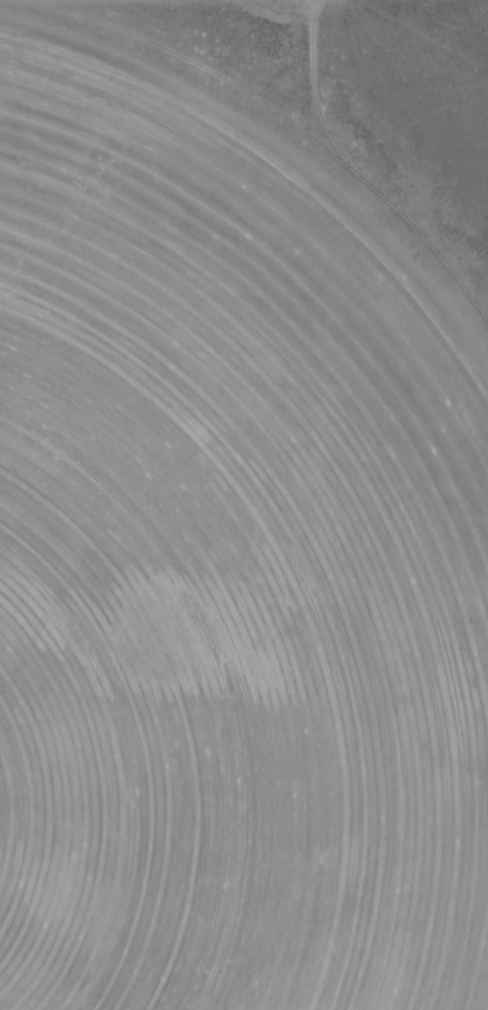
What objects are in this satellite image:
crop: (227, 580)

